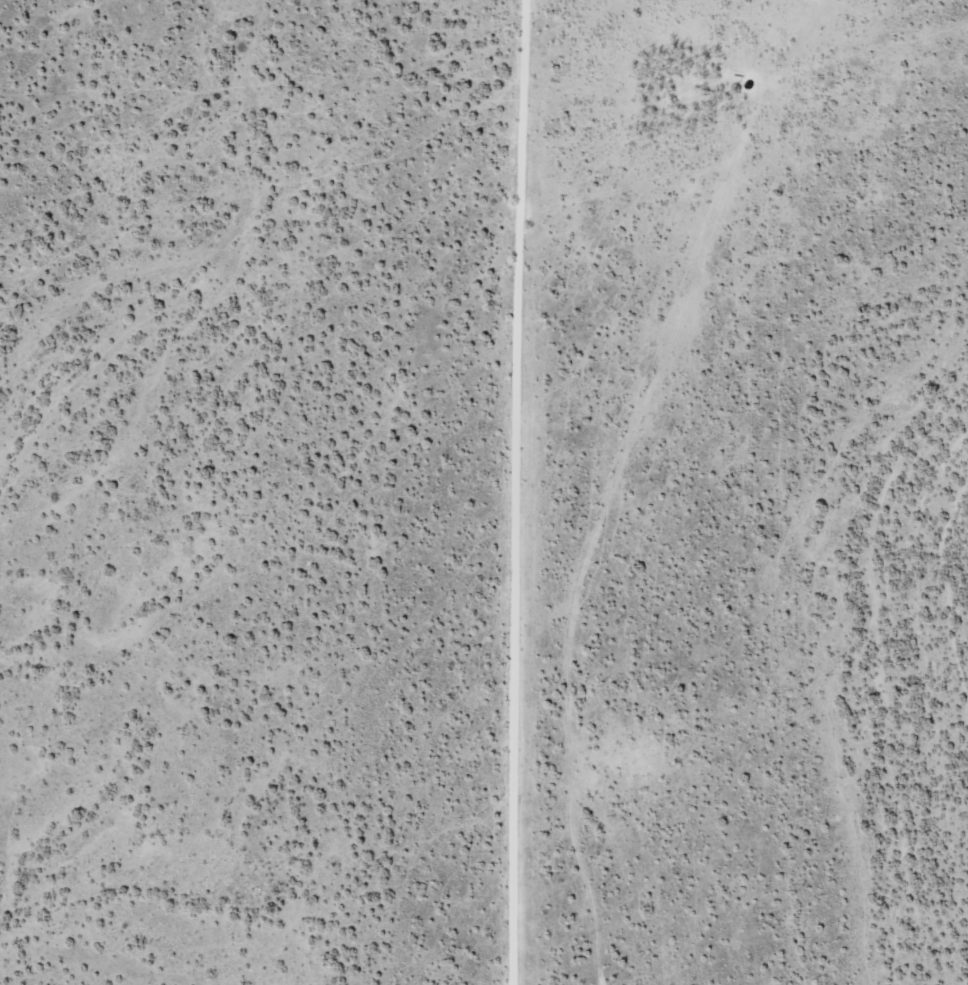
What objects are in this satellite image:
road: (614, 479)

